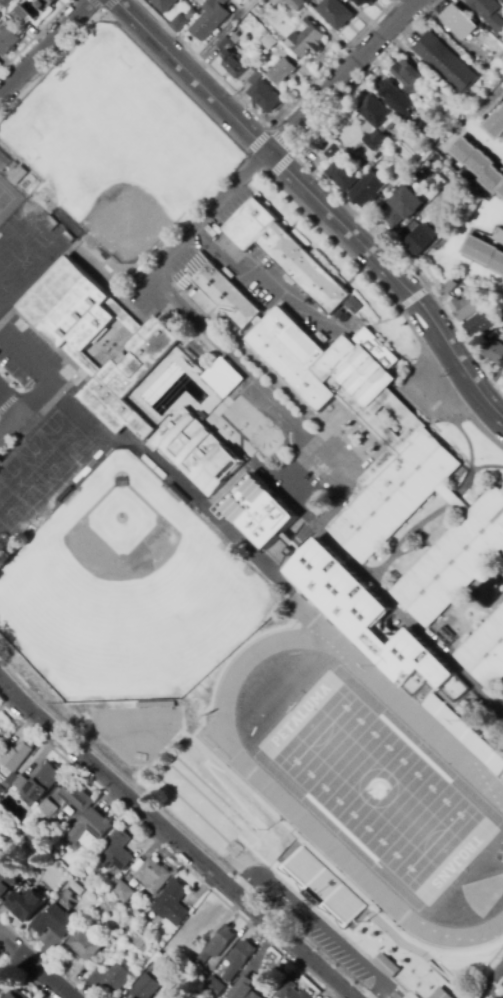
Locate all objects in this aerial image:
building: (310, 1)
building: (7, 2)
building: (222, 2)
building: (365, 2)
building: (46, 3)
building: (298, 4)
building: (165, 5)
building: (188, 7)
road: (102, 10)
building: (488, 12)
building: (336, 13)
building: (191, 14)
building: (20, 15)
building: (1, 18)
building: (170, 18)
building: (250, 19)
building: (460, 21)
building: (179, 23)
building: (206, 26)
road: (121, 29)
road: (34, 35)
building: (8, 39)
building: (307, 40)
building: (270, 42)
road: (44, 46)
building: (231, 58)
building: (446, 62)
building: (282, 71)
road: (191, 75)
road: (341, 76)
building: (410, 76)
building: (256, 77)
building: (392, 94)
building: (266, 96)
building: (429, 98)
building: (378, 120)
building: (496, 123)
road: (268, 126)
road: (279, 138)
park: (118, 146)
building: (333, 152)
building: (379, 156)
building: (4, 161)
road: (254, 161)
building: (479, 164)
building: (14, 165)
building: (18, 175)
building: (344, 176)
building: (393, 188)
building: (368, 189)
road: (332, 191)
park: (5, 196)
building: (403, 206)
road: (205, 215)
building: (498, 236)
building: (420, 241)
building: (285, 252)
building: (484, 253)
road: (394, 277)
building: (452, 286)
road: (412, 297)
road: (392, 300)
building: (352, 304)
building: (465, 307)
building: (501, 317)
building: (478, 325)
parking lot: (25, 344)
building: (494, 351)
road: (47, 371)
building: (222, 374)
building: (502, 376)
road: (10, 377)
road: (9, 399)
road: (10, 403)
road: (37, 416)
road: (10, 423)
building: (401, 430)
building: (226, 467)
road: (272, 481)
road: (342, 496)
park: (124, 590)
building: (485, 651)
building: (19, 755)
track: (476, 772)
building: (17, 780)
building: (41, 785)
park: (379, 789)
building: (2, 790)
building: (77, 796)
building: (46, 808)
building: (92, 826)
road: (184, 830)
road: (175, 840)
road: (167, 851)
building: (116, 852)
building: (153, 875)
building: (6, 884)
building: (321, 885)
building: (122, 892)
building: (172, 903)
building: (25, 905)
building: (54, 922)
building: (84, 944)
building: (217, 944)
building: (239, 958)
road: (10, 967)
road: (34, 967)
building: (387, 967)
road: (482, 972)
building: (202, 977)
building: (111, 979)
road: (492, 984)
building: (213, 986)
building: (144, 987)
building: (245, 989)
building: (292, 991)
building: (441, 994)
building: (13, 996)
building: (186, 997)

